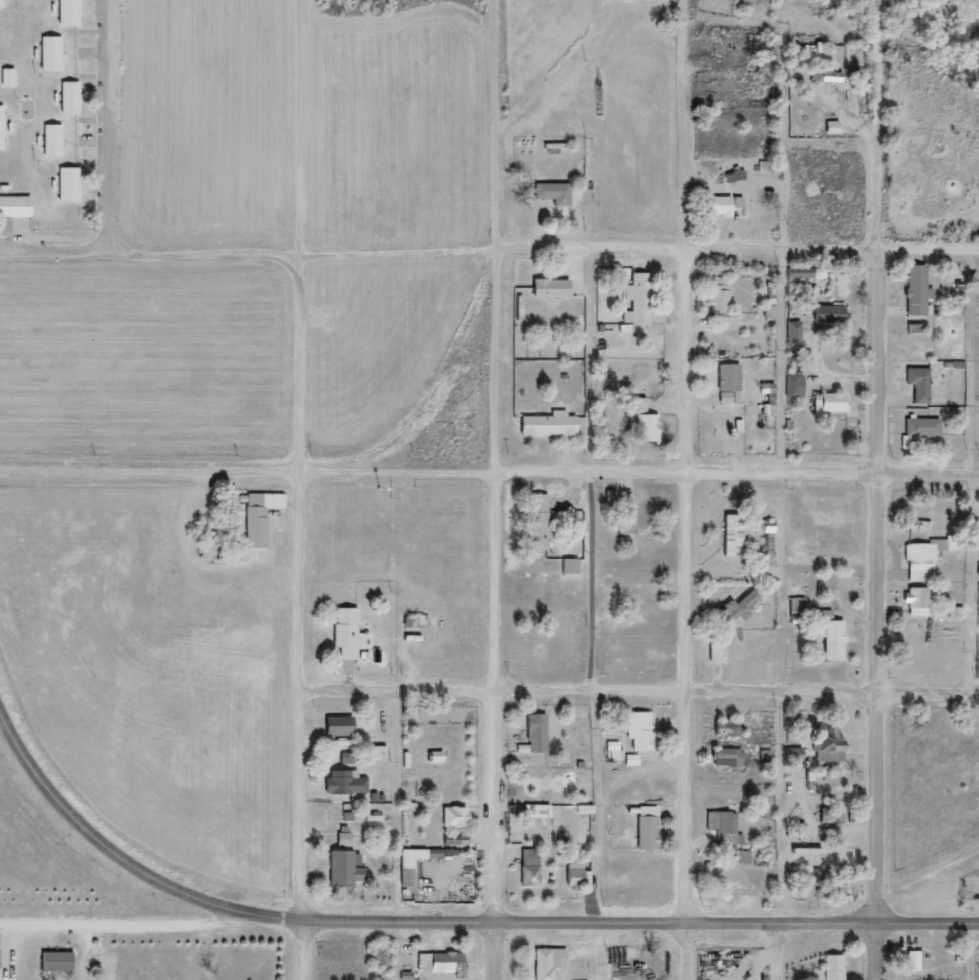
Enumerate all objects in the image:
building: (1, 3)
building: (68, 13)
building: (51, 54)
building: (826, 76)
building: (7, 78)
building: (69, 98)
road: (111, 126)
building: (1, 128)
building: (832, 128)
building: (52, 141)
building: (68, 185)
building: (554, 193)
building: (722, 205)
building: (14, 207)
road: (497, 236)
road: (489, 251)
building: (550, 288)
building: (917, 290)
building: (637, 300)
building: (720, 301)
building: (829, 314)
building: (794, 334)
building: (729, 384)
building: (919, 384)
building: (795, 386)
building: (829, 402)
building: (551, 421)
building: (641, 422)
building: (923, 427)
road: (489, 473)
road: (689, 489)
road: (877, 489)
road: (302, 490)
building: (259, 516)
building: (626, 519)
building: (539, 523)
building: (923, 527)
building: (733, 535)
building: (800, 545)
building: (920, 562)
building: (569, 566)
building: (797, 606)
building: (738, 608)
building: (347, 633)
building: (831, 636)
building: (717, 649)
road: (643, 691)
road: (495, 698)
building: (339, 727)
building: (725, 727)
building: (639, 731)
building: (536, 735)
building: (828, 745)
building: (615, 750)
building: (726, 758)
building: (346, 759)
building: (632, 760)
building: (536, 811)
building: (454, 817)
building: (646, 828)
building: (725, 829)
building: (343, 840)
building: (742, 857)
road: (121, 860)
building: (414, 864)
building: (345, 869)
building: (576, 874)
railway: (856, 919)
road: (127, 924)
road: (643, 924)
road: (496, 952)
building: (380, 959)
building: (55, 961)
building: (914, 961)
building: (547, 963)
building: (447, 964)
building: (834, 967)

